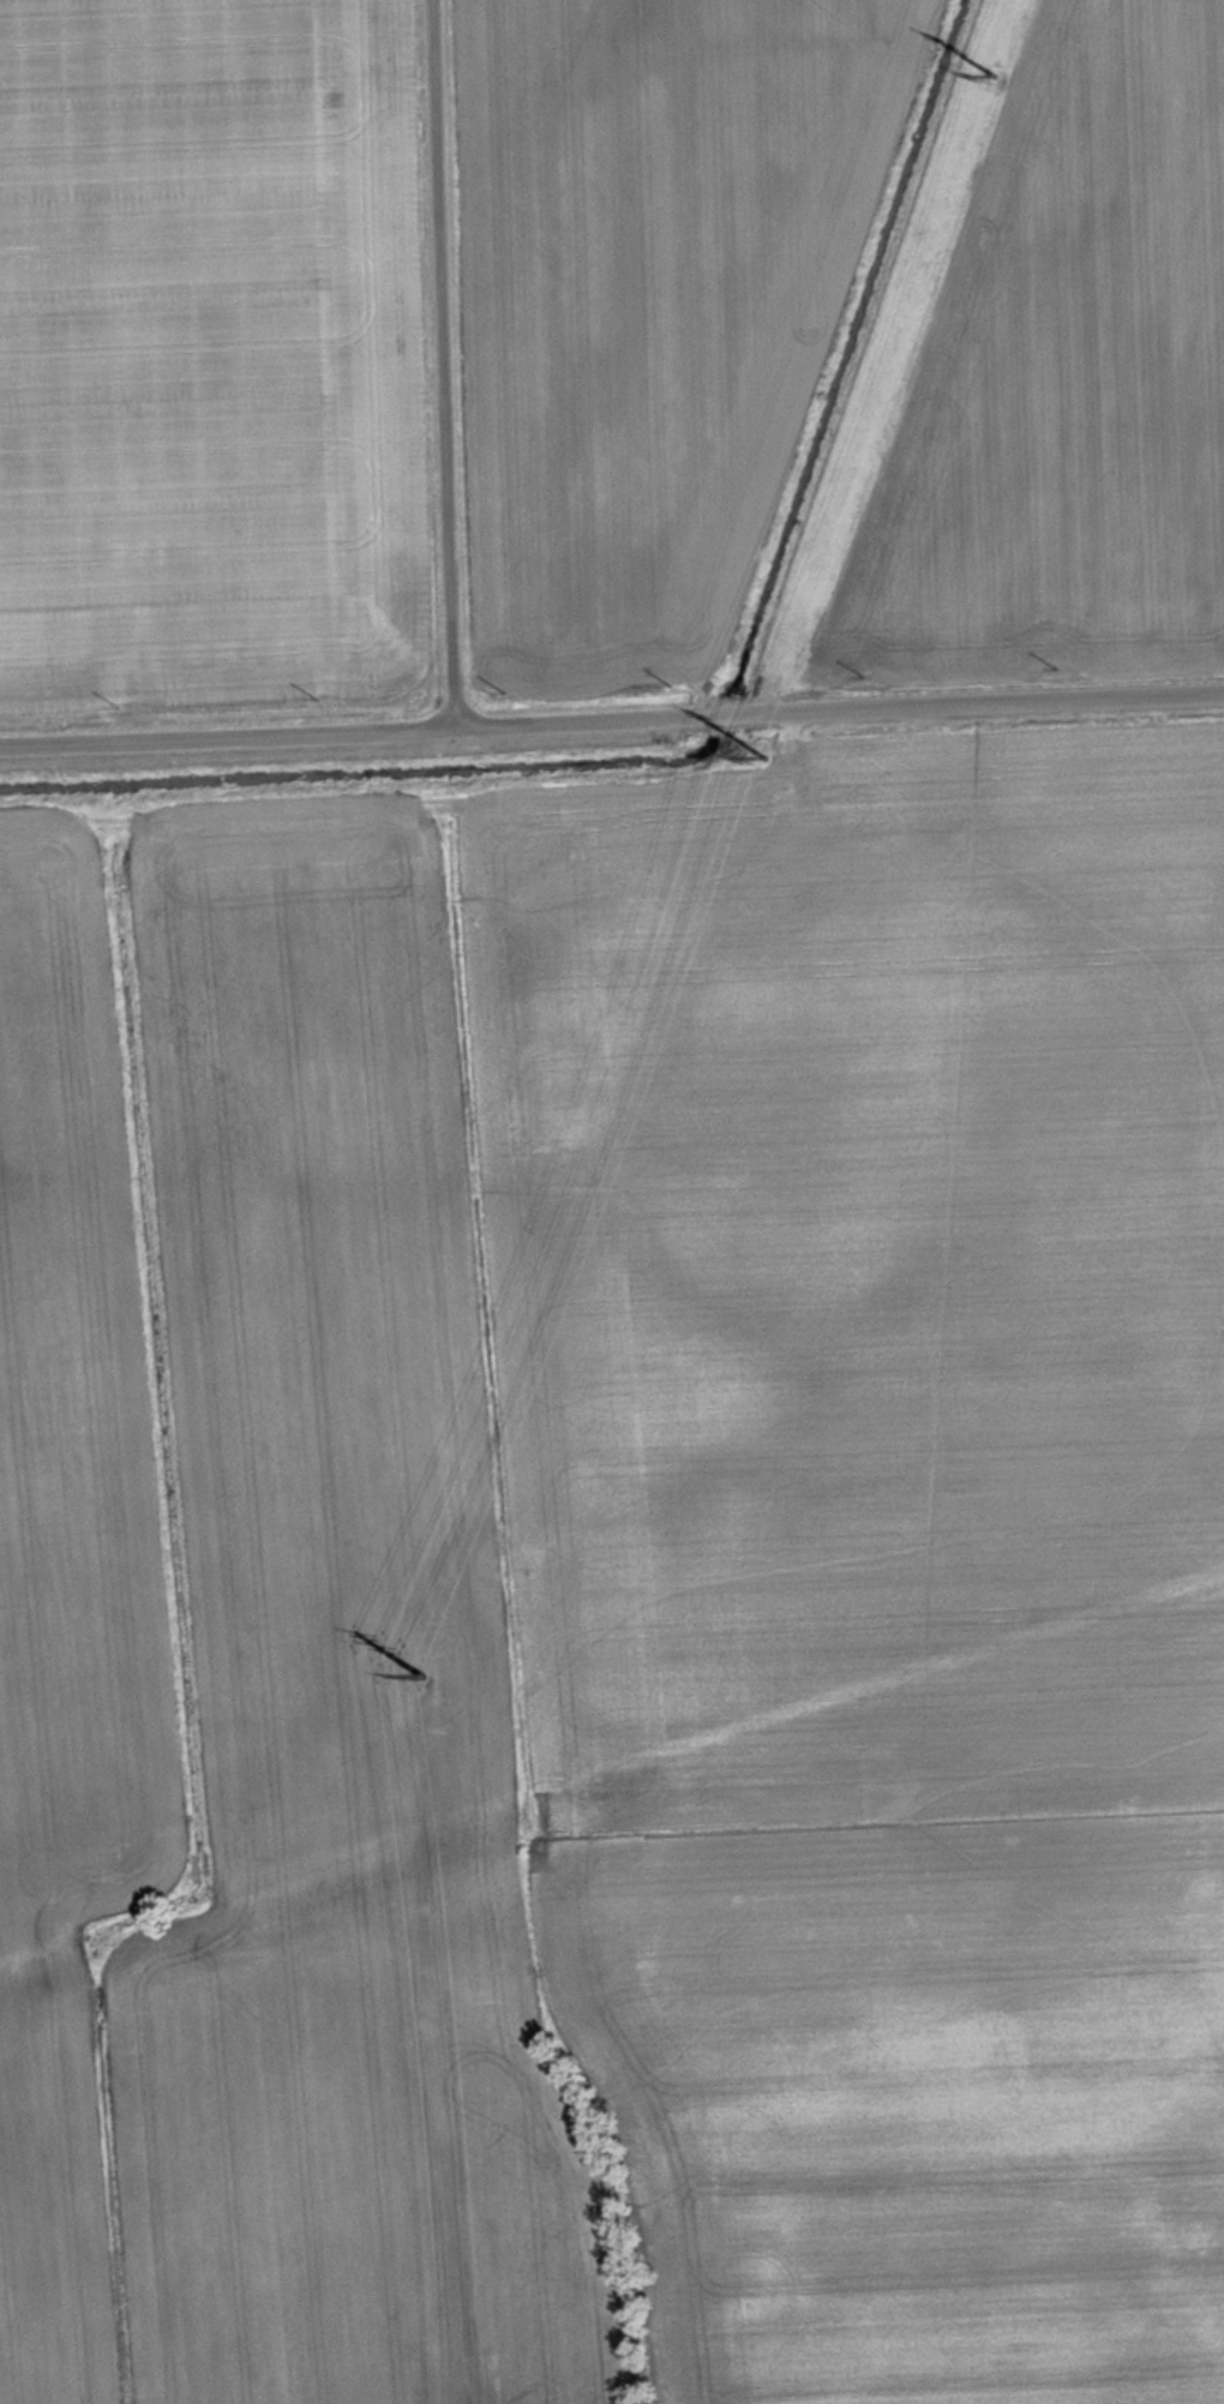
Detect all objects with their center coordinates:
power tower: (997, 67)
road: (440, 366)
road: (612, 727)
power tower: (760, 754)
power tower: (416, 1668)

